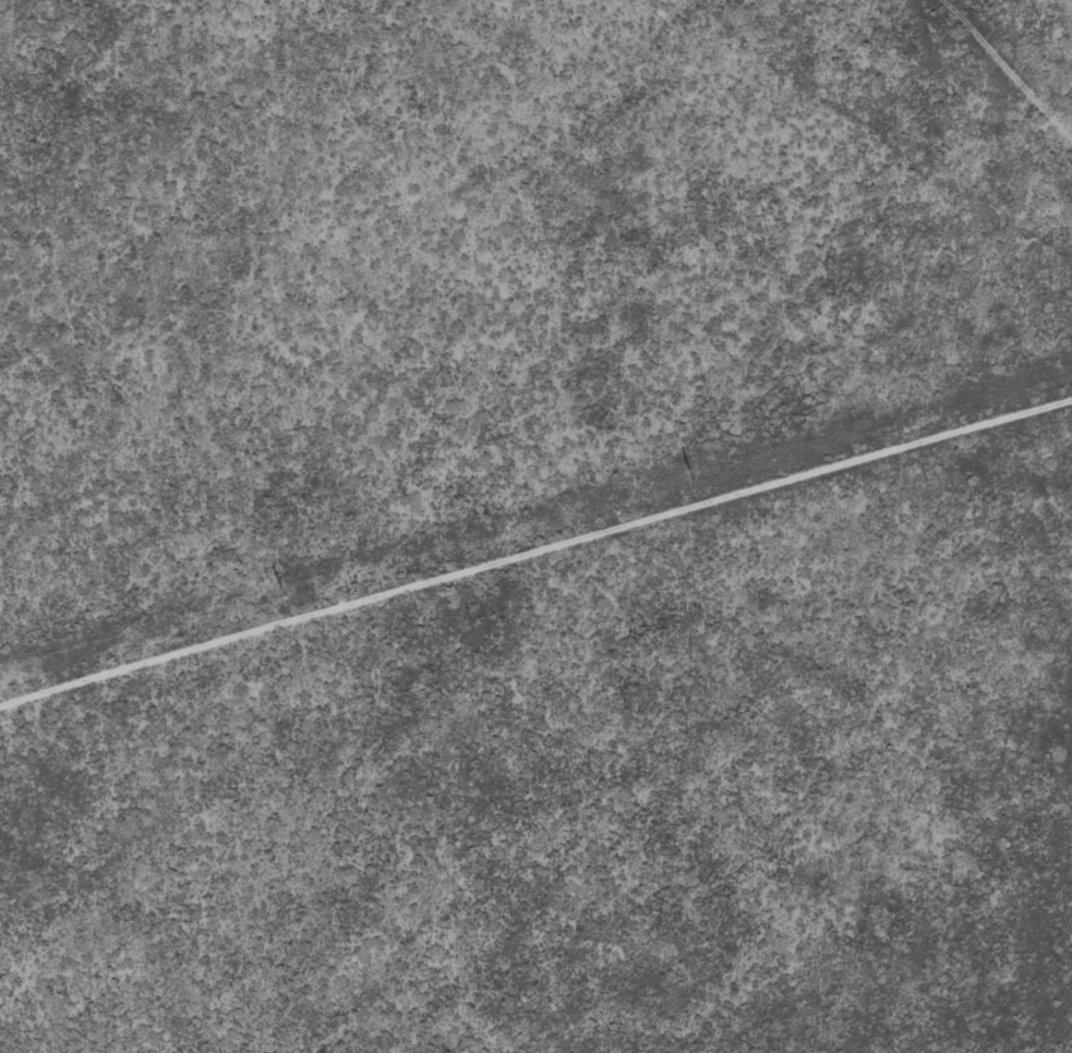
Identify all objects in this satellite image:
power tower: (689, 474)
power tower: (280, 592)

